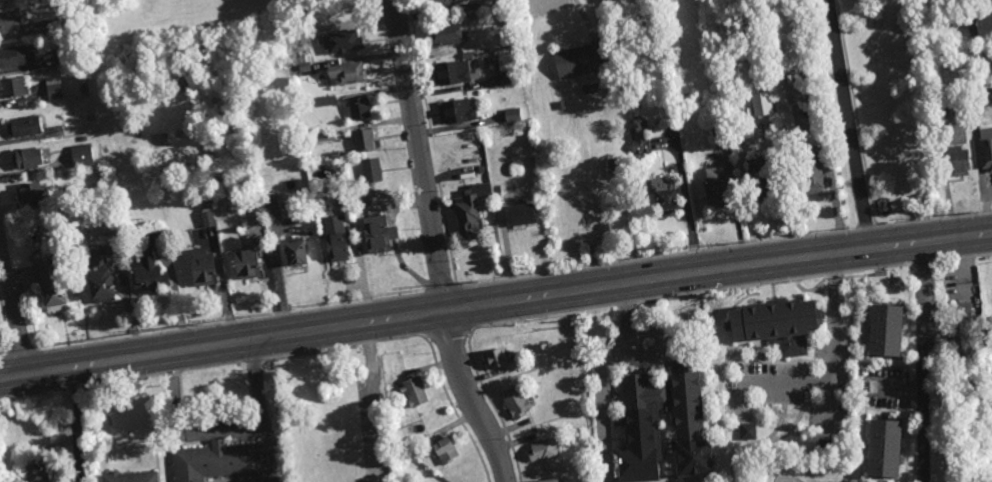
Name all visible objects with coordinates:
building: (1, 0)
building: (436, 3)
building: (484, 4)
building: (484, 14)
road: (586, 16)
building: (965, 16)
building: (9, 21)
building: (746, 26)
building: (984, 27)
building: (49, 28)
building: (446, 34)
building: (341, 43)
building: (67, 53)
building: (15, 57)
building: (968, 57)
building: (582, 59)
building: (507, 67)
building: (60, 71)
building: (455, 72)
building: (348, 73)
building: (15, 87)
building: (55, 87)
building: (590, 89)
building: (330, 100)
building: (80, 103)
building: (561, 104)
building: (762, 104)
building: (359, 108)
building: (957, 109)
building: (456, 111)
building: (801, 114)
building: (513, 115)
building: (89, 117)
road: (847, 124)
building: (25, 126)
building: (720, 127)
building: (639, 136)
building: (84, 138)
building: (363, 140)
building: (105, 148)
building: (986, 152)
building: (82, 155)
building: (334, 155)
road: (421, 155)
building: (28, 159)
building: (957, 161)
building: (617, 163)
building: (371, 170)
building: (813, 174)
building: (768, 175)
building: (355, 182)
building: (717, 187)
building: (35, 192)
building: (94, 192)
building: (664, 194)
building: (68, 195)
building: (353, 199)
road: (687, 204)
building: (277, 208)
building: (569, 210)
power tower: (975, 210)
building: (471, 211)
building: (523, 215)
building: (209, 220)
power tower: (845, 227)
building: (379, 235)
building: (336, 240)
power tower: (745, 242)
building: (298, 252)
building: (96, 259)
power tower: (607, 261)
building: (249, 265)
building: (149, 266)
building: (205, 268)
building: (51, 284)
power tower: (472, 284)
building: (102, 285)
power tower: (870, 285)
road: (495, 303)
power tower: (328, 304)
road: (14, 307)
building: (777, 324)
power tower: (197, 325)
building: (887, 329)
building: (959, 332)
building: (728, 334)
power tower: (97, 340)
road: (833, 344)
building: (496, 360)
road: (923, 361)
road: (602, 379)
building: (744, 380)
road: (768, 386)
building: (851, 389)
road: (897, 390)
building: (414, 392)
road: (467, 398)
road: (372, 402)
building: (662, 402)
building: (514, 404)
building: (966, 404)
road: (260, 412)
road: (77, 425)
building: (748, 431)
road: (182, 432)
building: (885, 447)
building: (540, 451)
building: (443, 452)
building: (332, 461)
building: (221, 463)
building: (36, 474)
building: (127, 477)
building: (547, 480)

